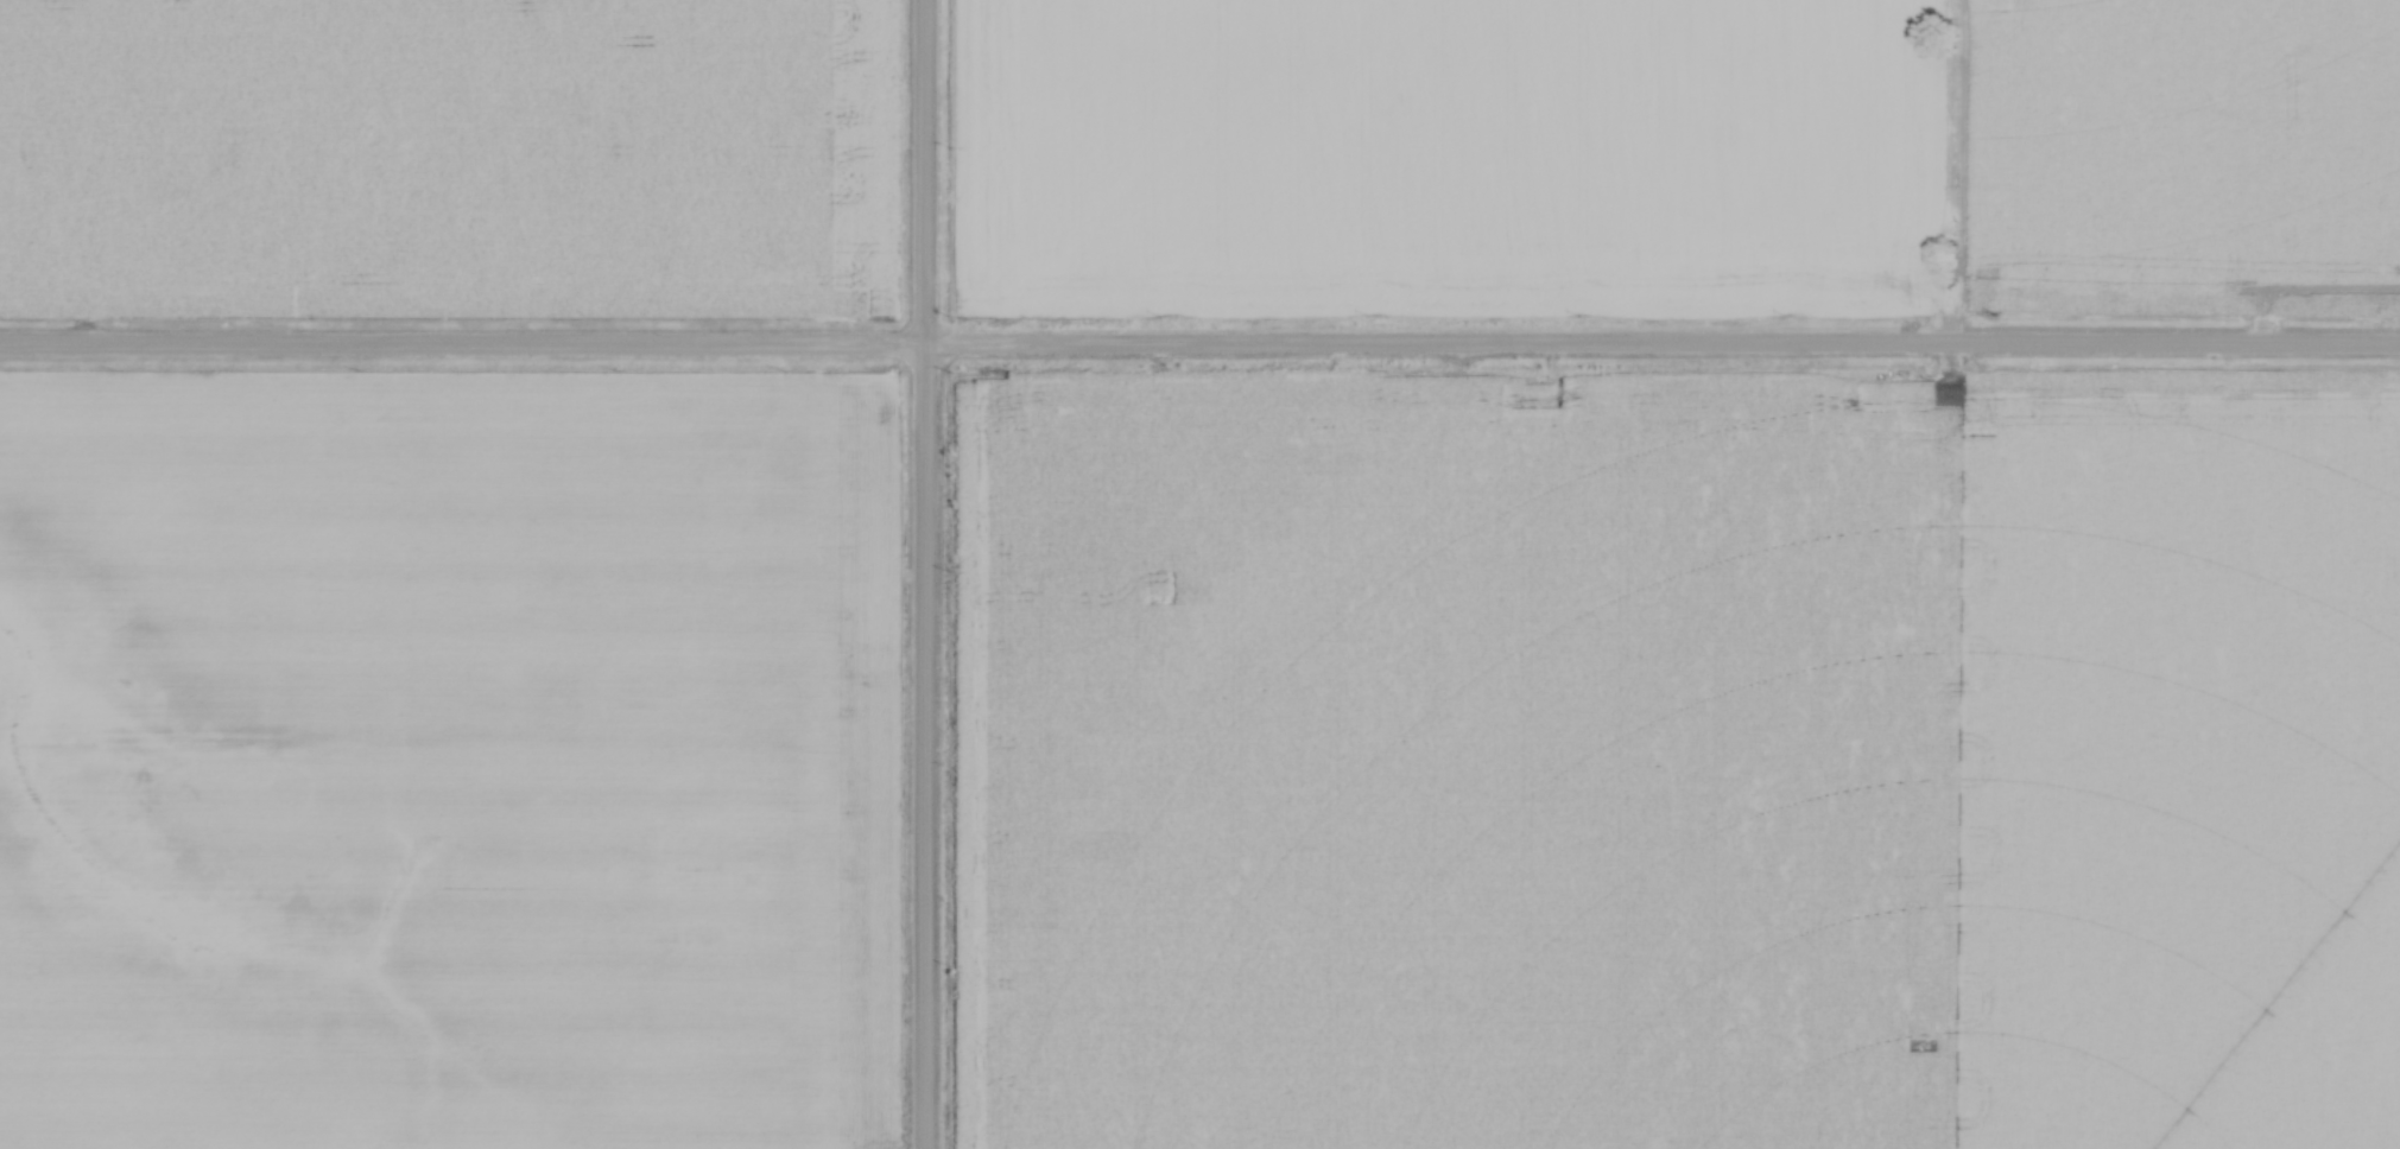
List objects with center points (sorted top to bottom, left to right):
road: (1199, 351)
road: (920, 573)

